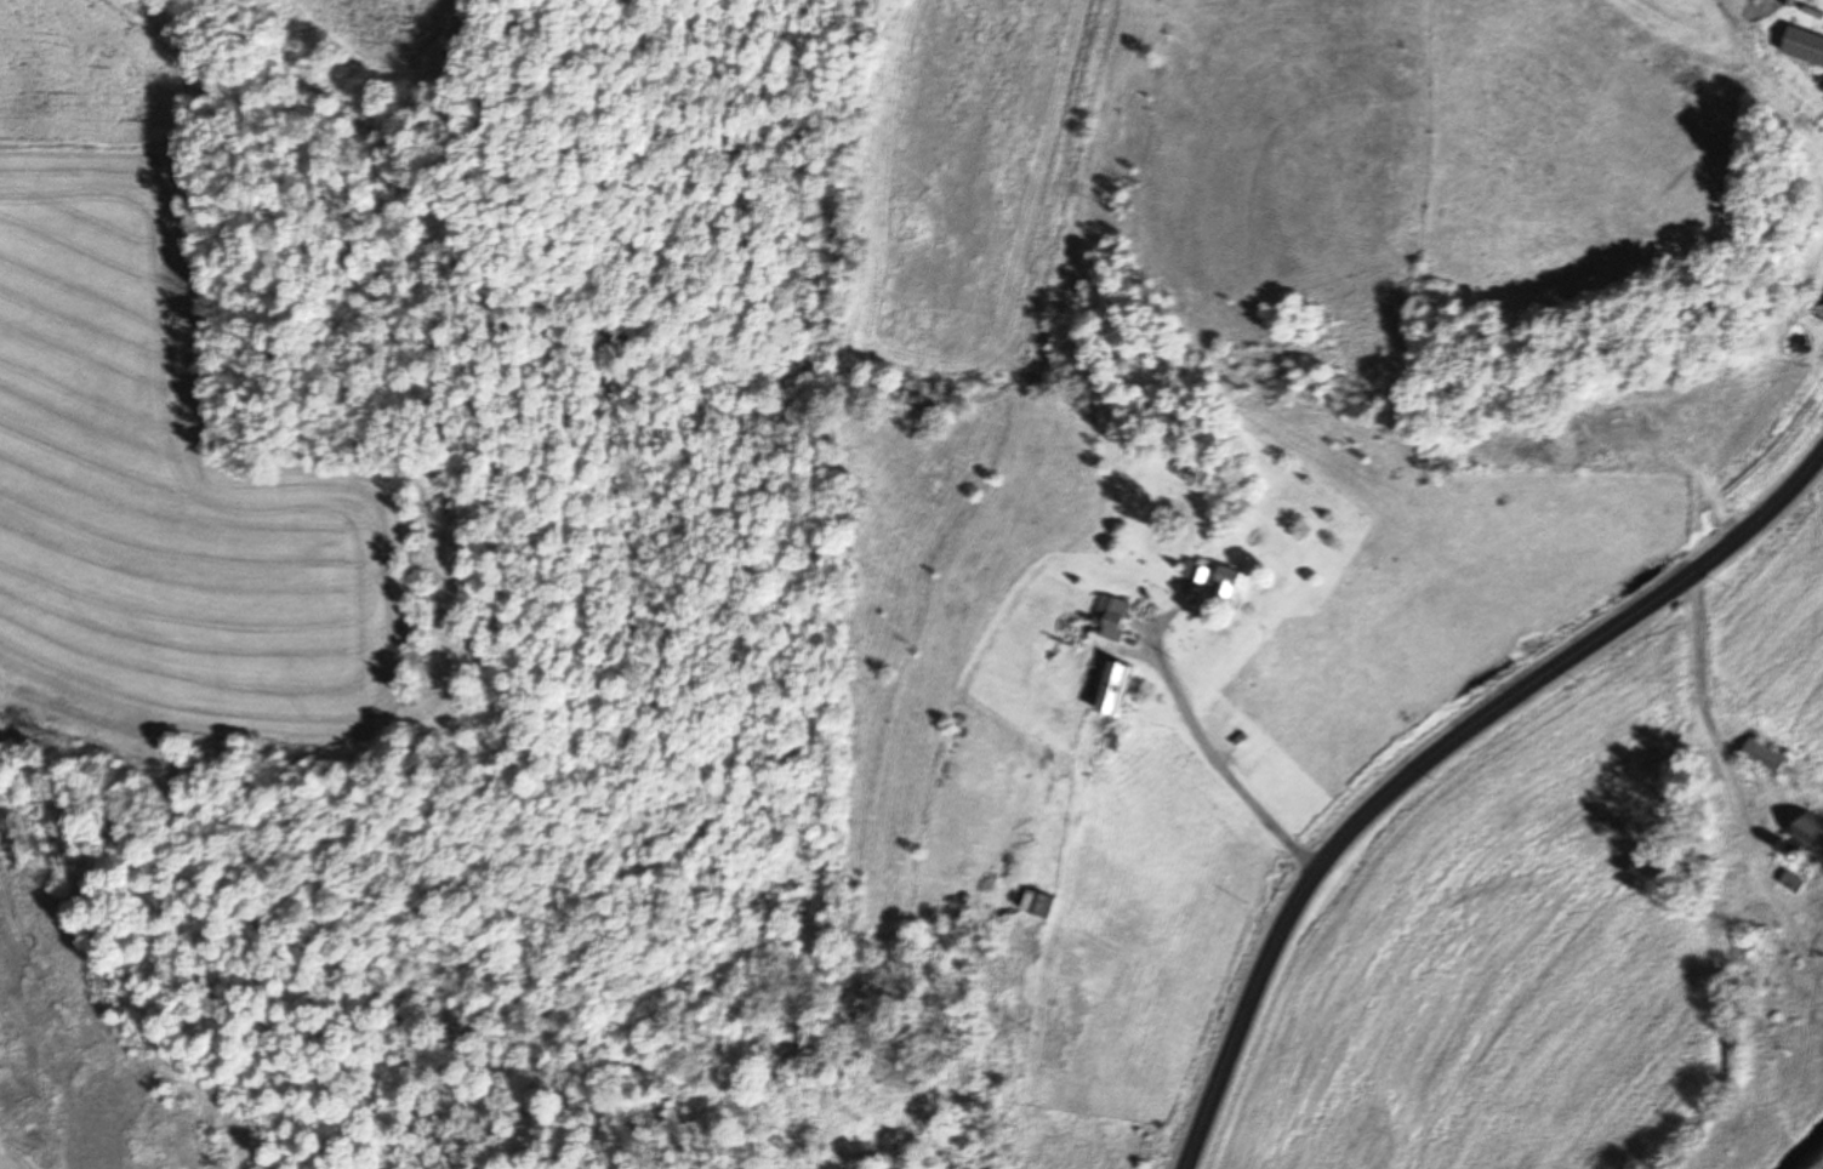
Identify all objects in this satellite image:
building: (1801, 46)
building: (1822, 92)
building: (1593, 420)
building: (1194, 570)
building: (1224, 584)
building: (1109, 620)
building: (1107, 691)
road: (1212, 752)
building: (1765, 754)
road: (1436, 757)
building: (1808, 834)
road: (1725, 867)
building: (1790, 883)
building: (1032, 905)
river: (1802, 1146)

